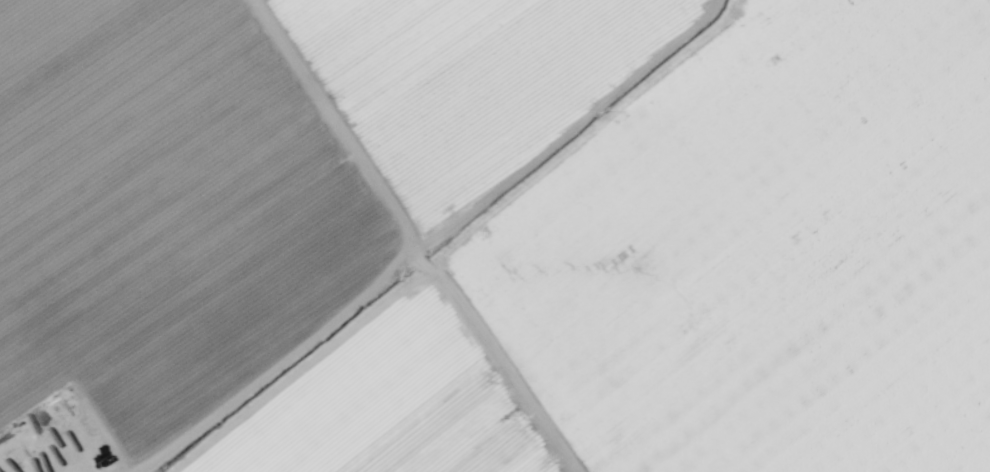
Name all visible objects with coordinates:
crop: (495, 236)

